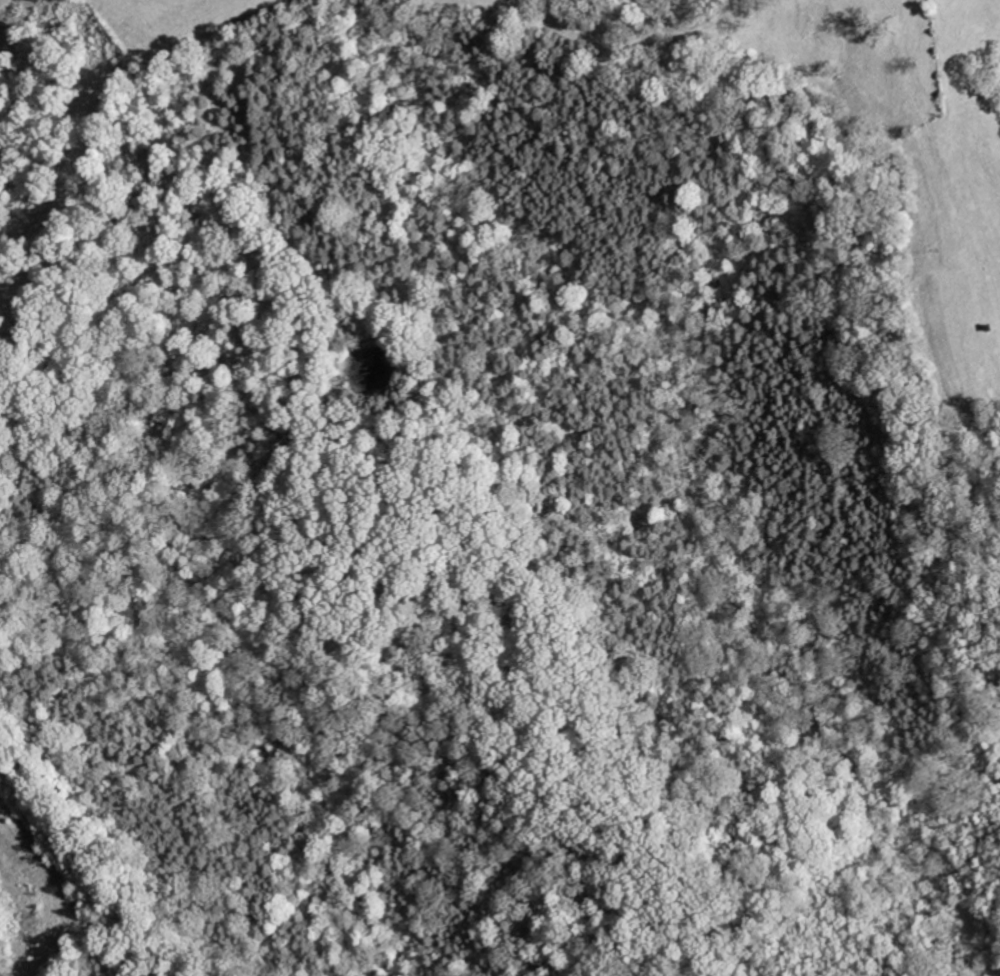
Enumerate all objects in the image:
road: (34, 860)

